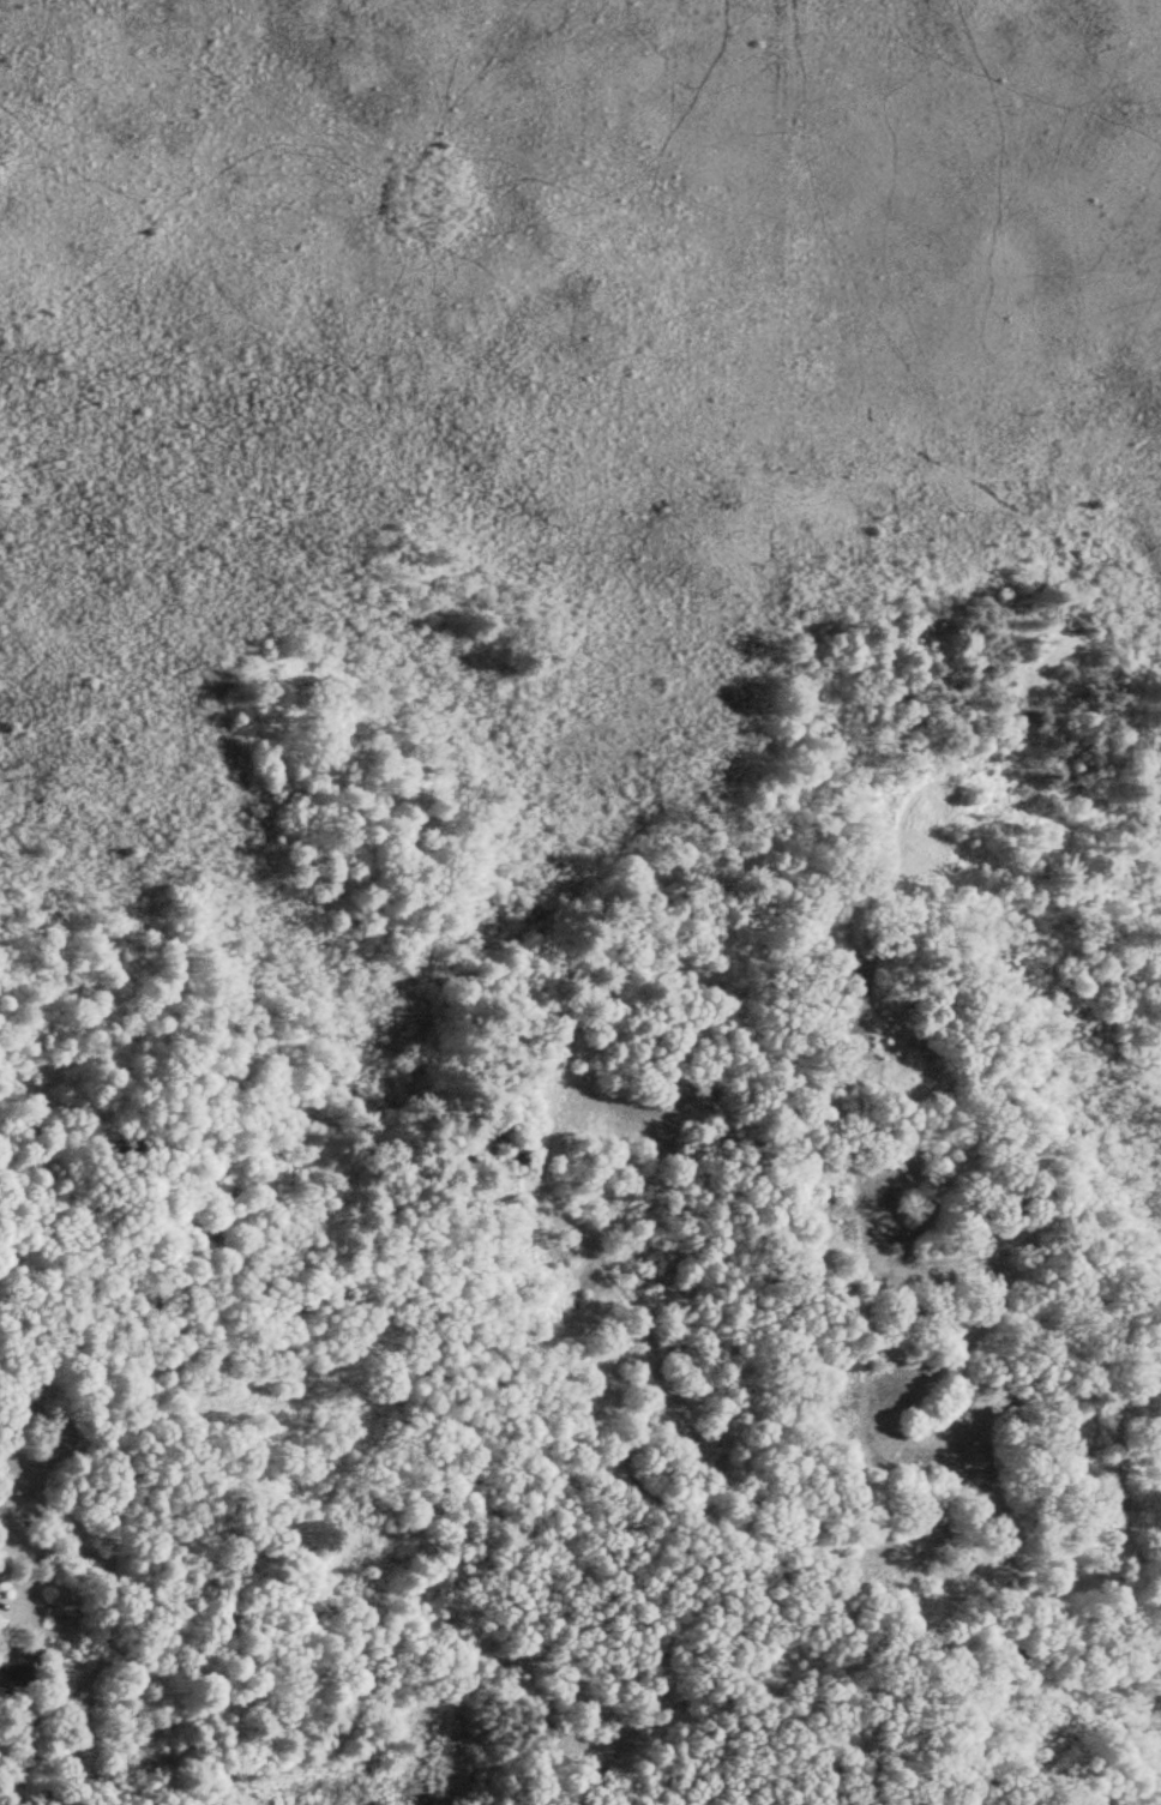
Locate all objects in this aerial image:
building: (20, 1667)

